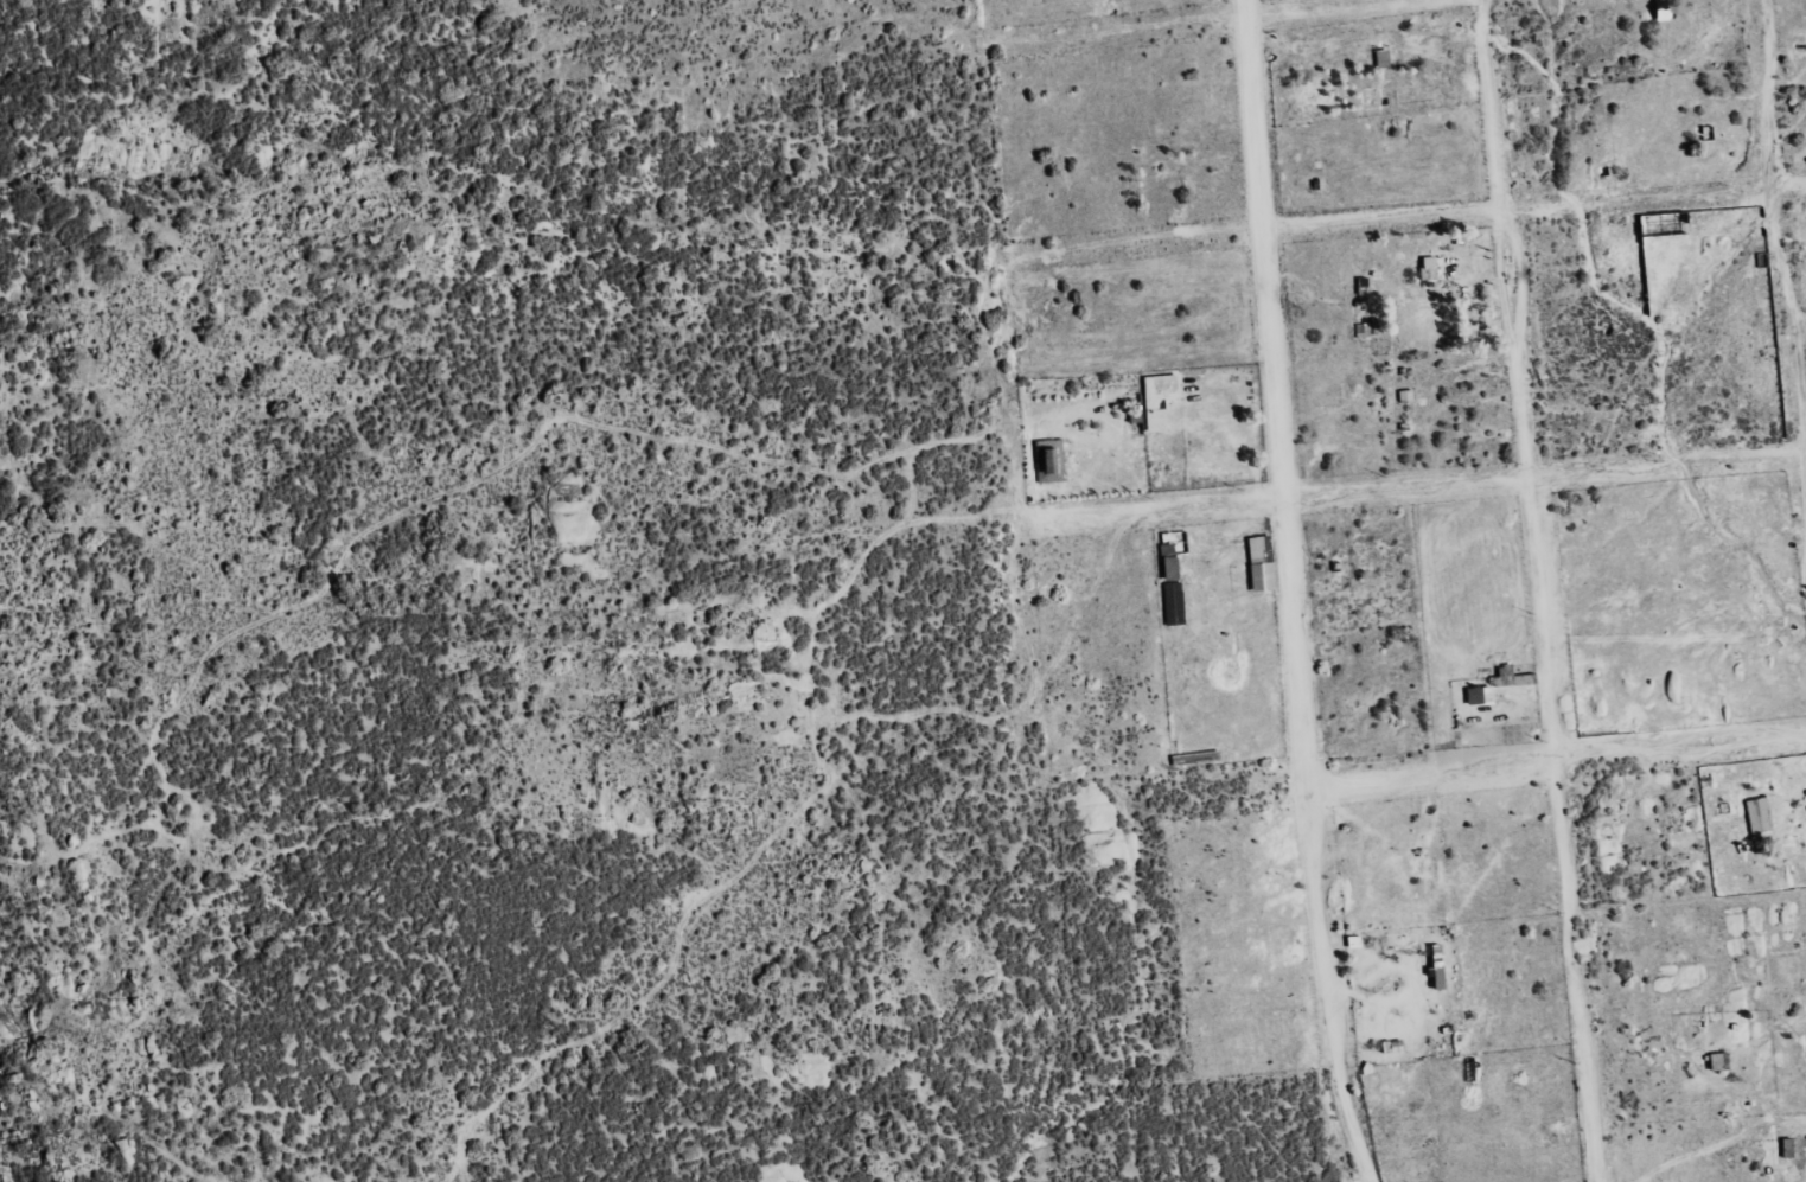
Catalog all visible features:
road: (1780, 271)
road: (1291, 593)

